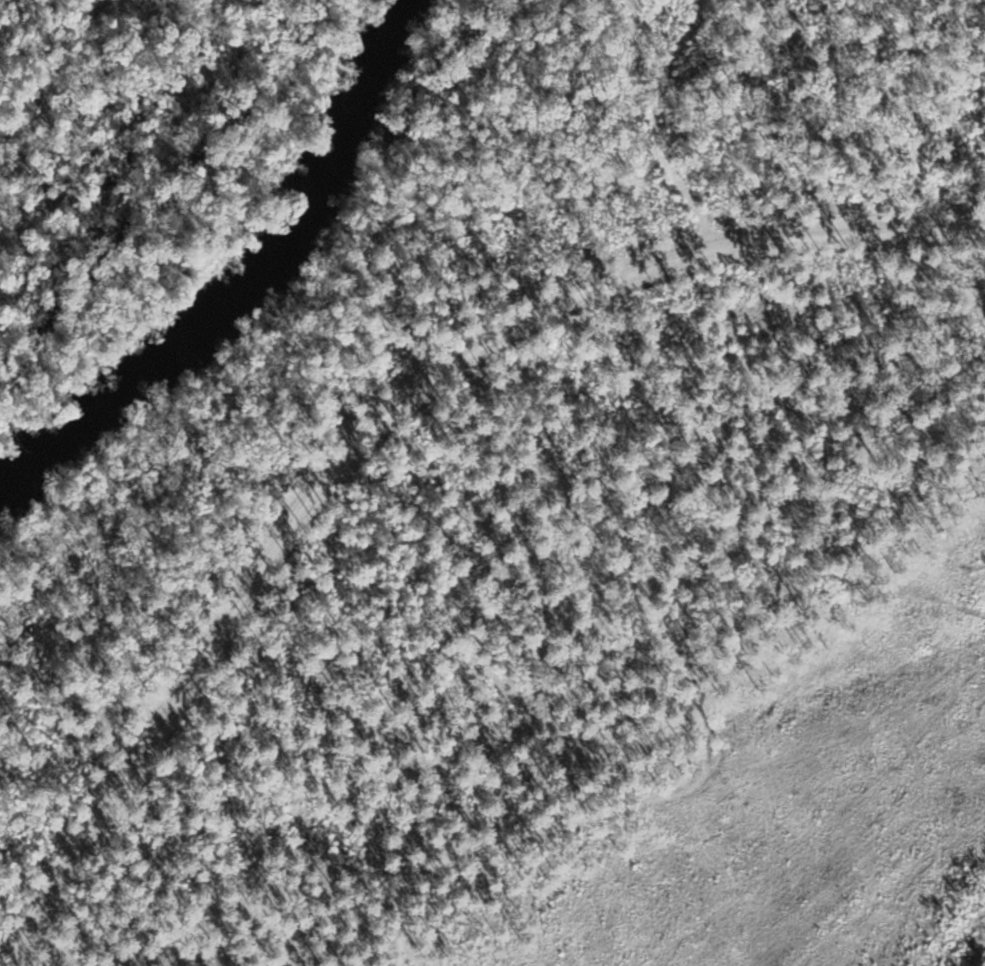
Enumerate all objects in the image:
river: (254, 282)
airport: (551, 531)

